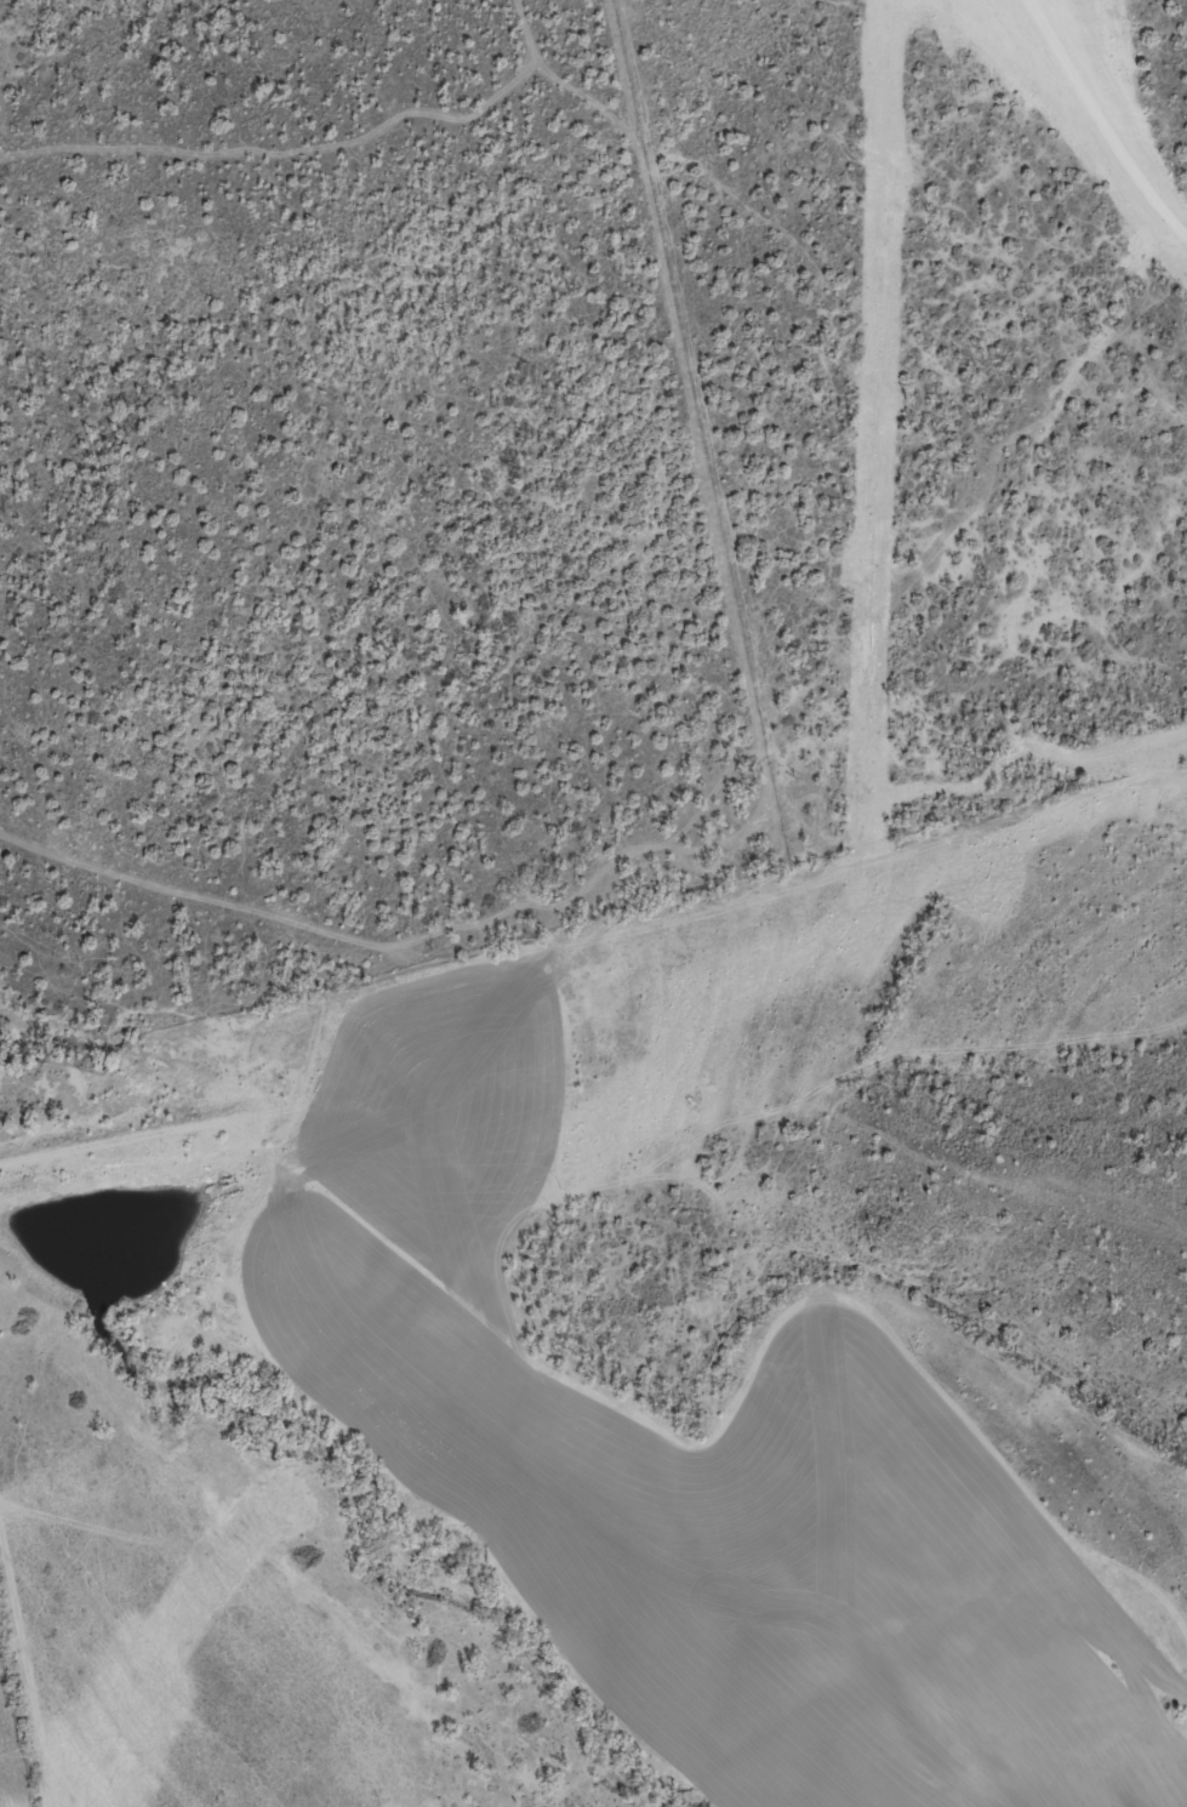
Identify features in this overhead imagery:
road: (1101, 120)
dam: (109, 1141)
road: (874, 1319)

